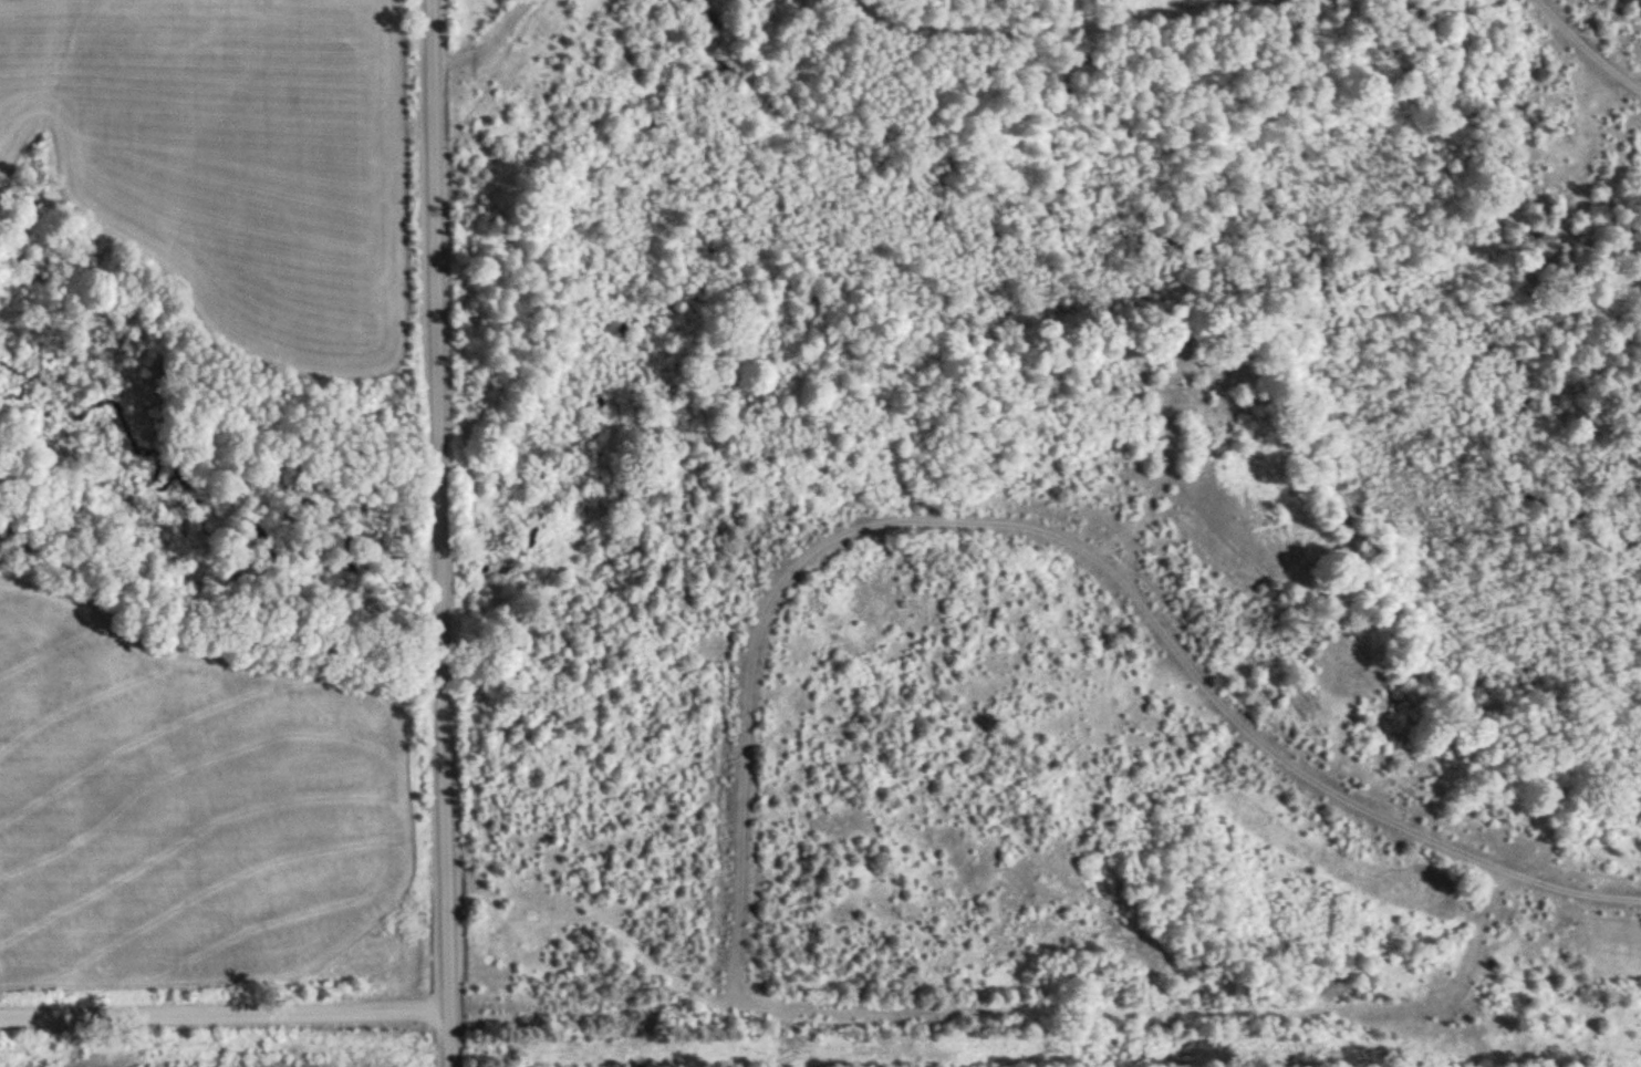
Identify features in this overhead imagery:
road: (1043, 61)
road: (440, 506)
road: (1048, 538)
road: (1169, 1014)
road: (225, 1016)
road: (449, 1039)

